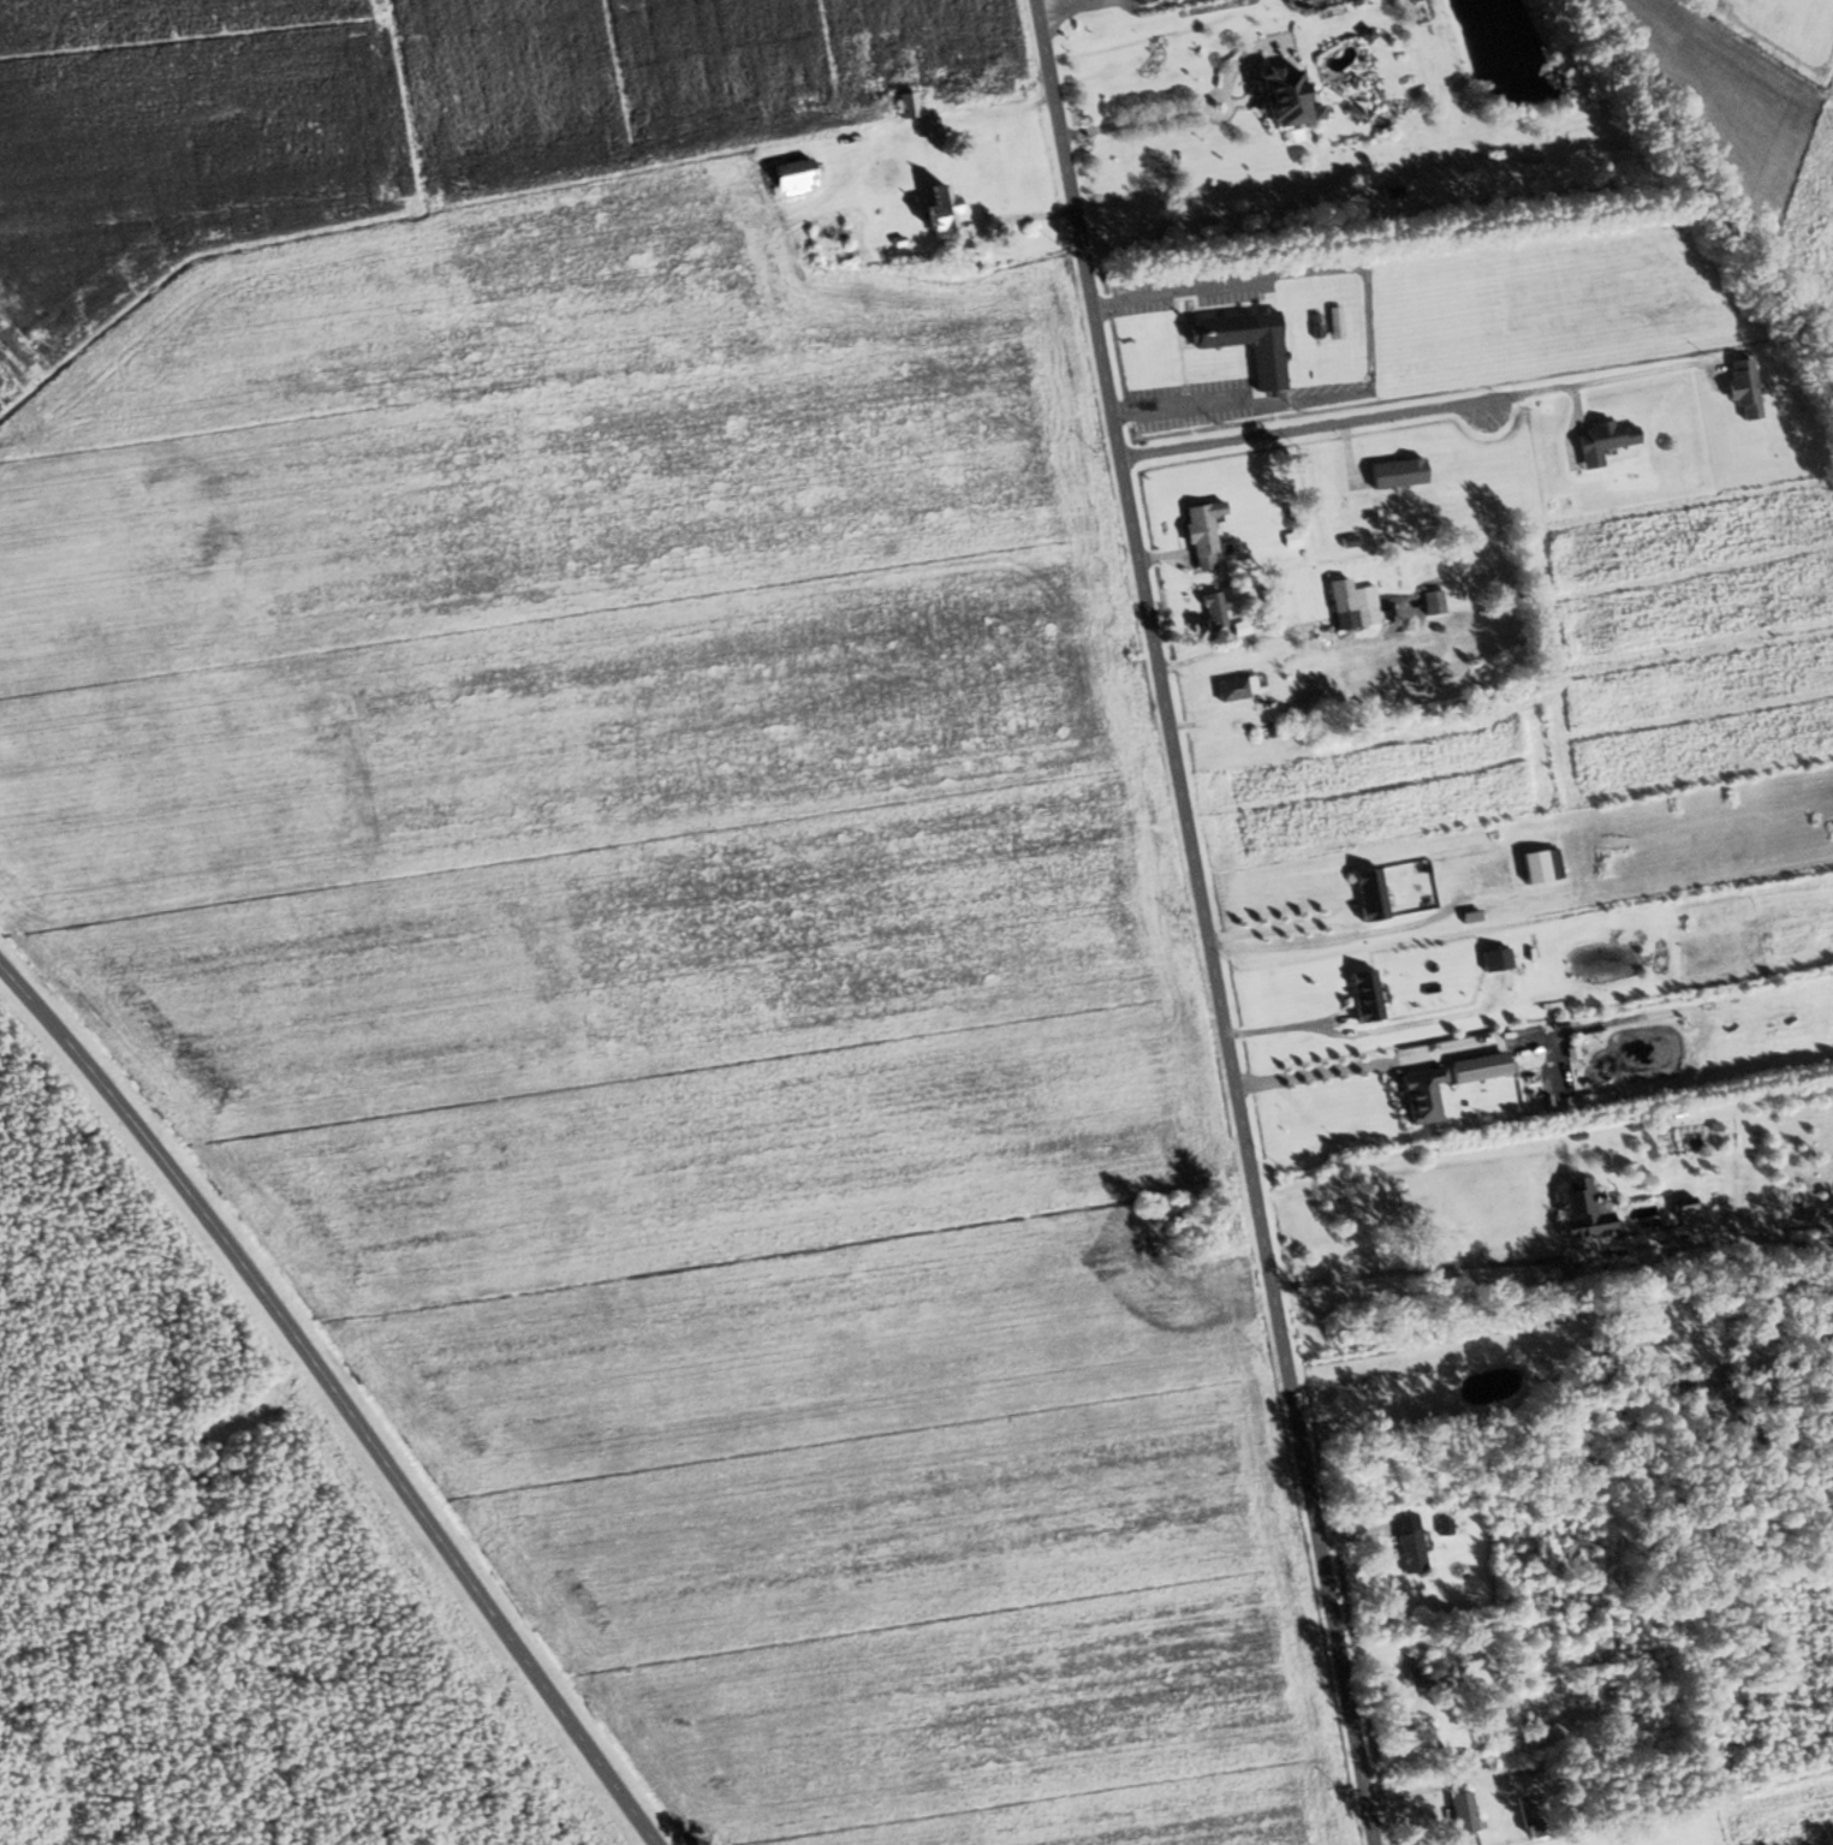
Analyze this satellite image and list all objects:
building: (1272, 94)
building: (903, 103)
road: (1183, 113)
building: (787, 177)
building: (930, 208)
building: (827, 243)
building: (968, 262)
building: (1332, 321)
building: (1243, 341)
road: (1597, 379)
building: (1738, 387)
road: (1301, 430)
building: (1600, 440)
building: (1391, 472)
building: (1200, 534)
building: (1350, 605)
building: (1209, 609)
building: (1231, 688)
building: (1364, 893)
road: (1204, 922)
road: (1279, 929)
road: (1408, 1057)
building: (1416, 1095)
building: (1575, 1210)
road: (1429, 1268)
road: (1558, 1349)
road: (334, 1404)
building: (1405, 1542)
building: (1417, 1726)
building: (1458, 1813)

